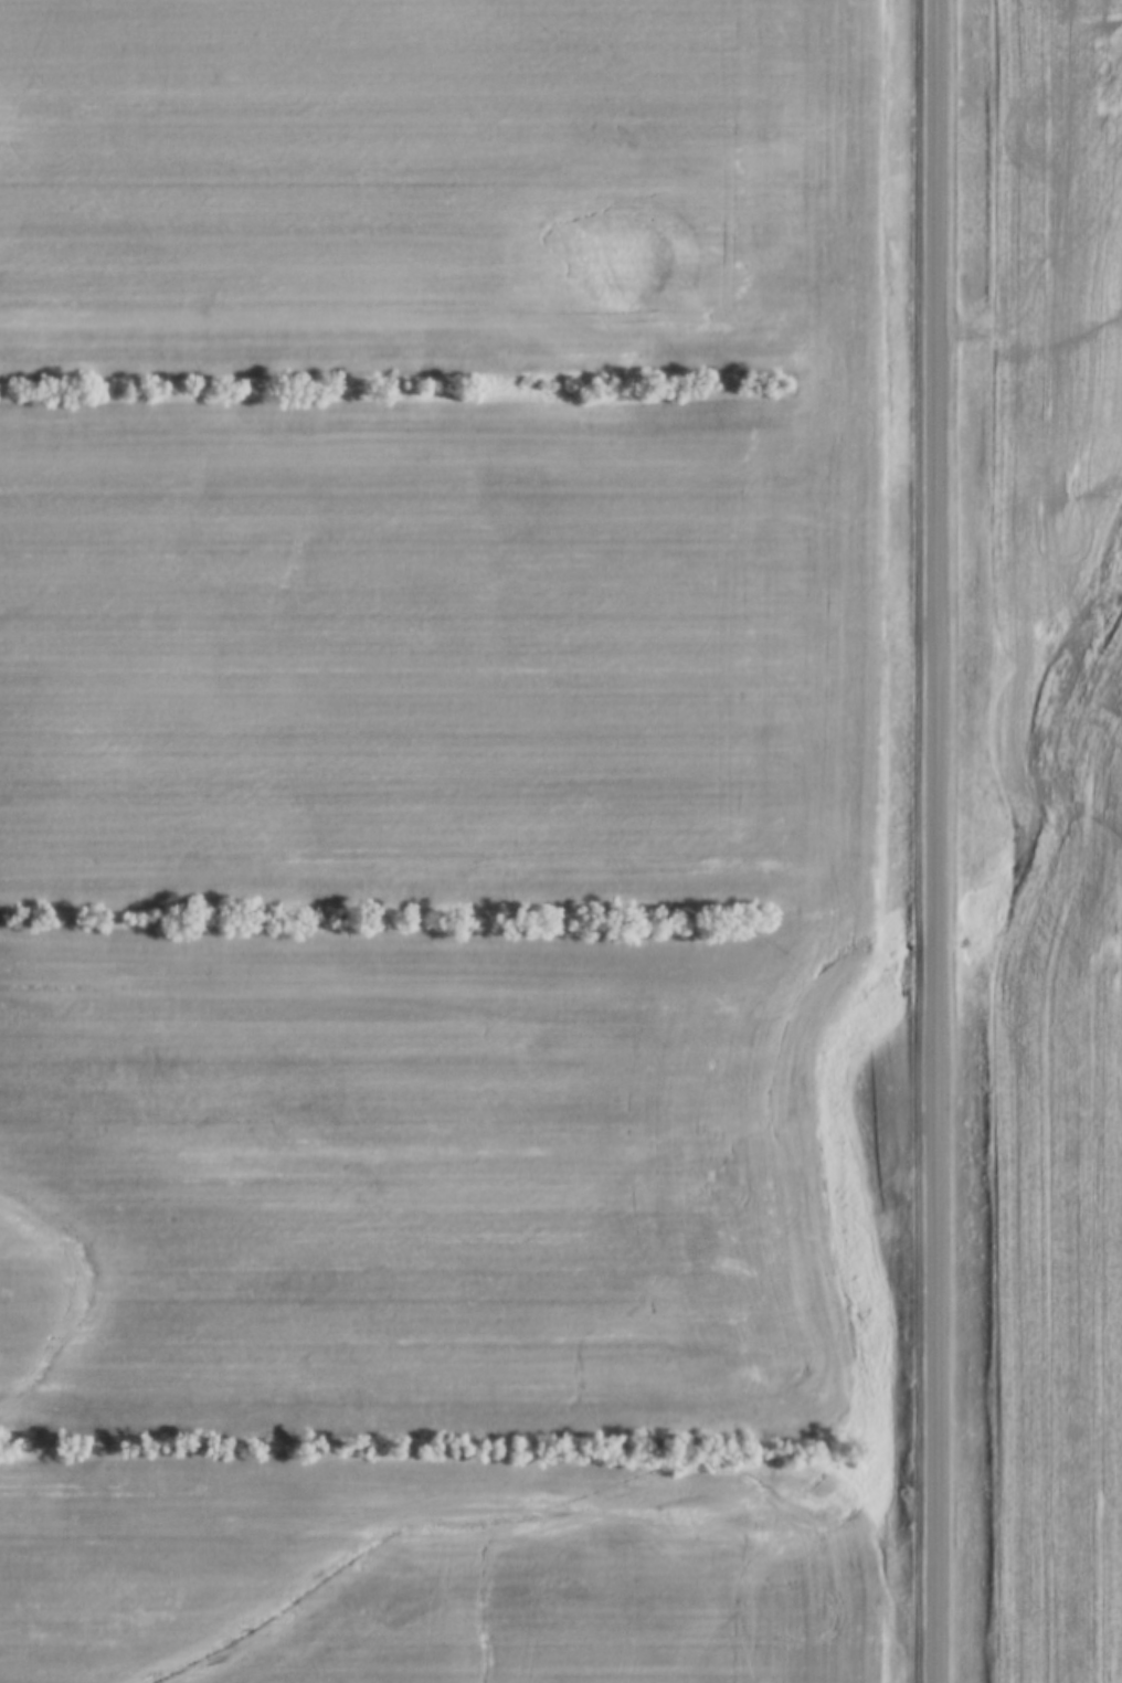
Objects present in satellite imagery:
road: (938, 840)

